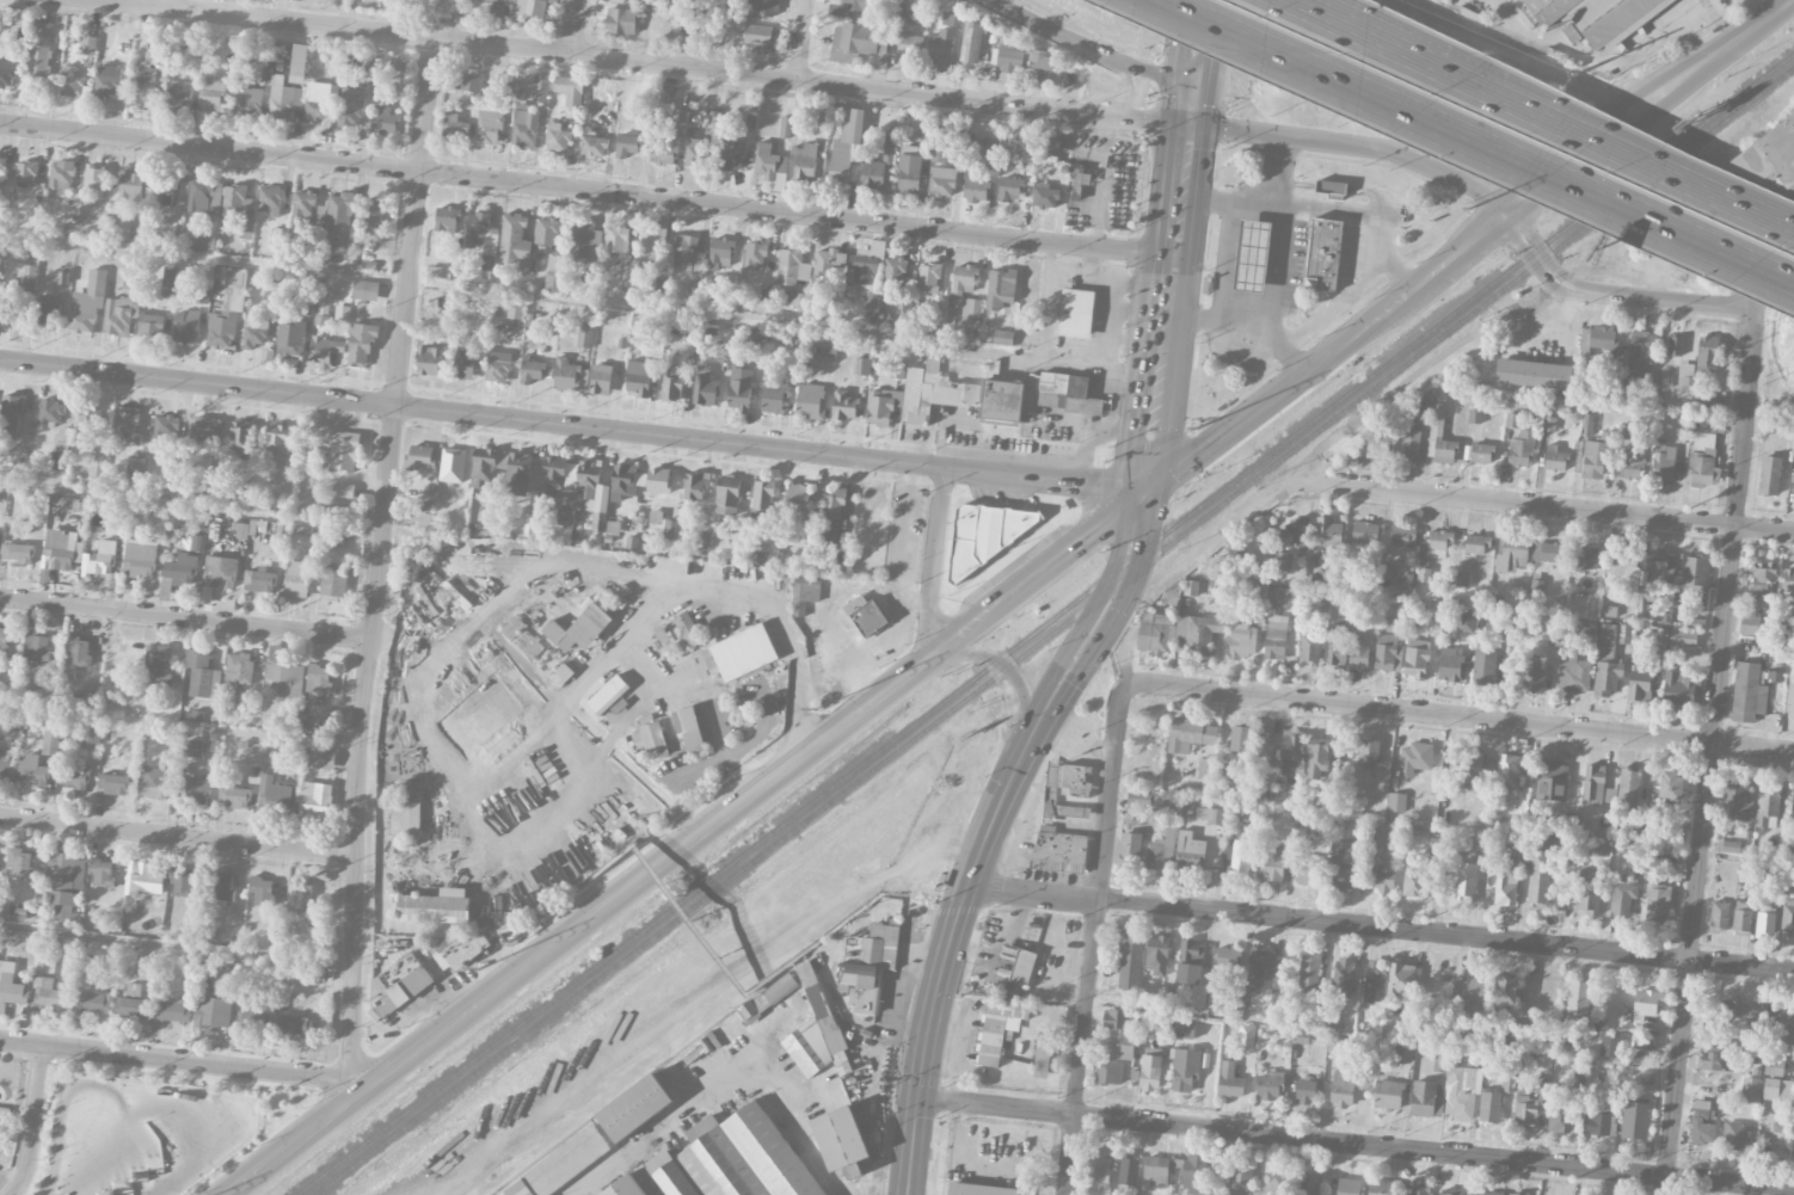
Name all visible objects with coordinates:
building: (487, 0)
road: (171, 4)
building: (528, 8)
building: (762, 8)
building: (848, 8)
building: (1596, 17)
road: (441, 18)
building: (950, 19)
building: (620, 20)
road: (1215, 24)
road: (573, 27)
building: (758, 35)
road: (801, 41)
building: (853, 42)
building: (971, 42)
building: (909, 44)
building: (87, 45)
road: (1092, 50)
road: (1388, 50)
building: (940, 51)
road: (1597, 56)
building: (1008, 58)
building: (39, 61)
building: (299, 63)
road: (649, 63)
building: (1040, 64)
building: (332, 68)
building: (265, 72)
building: (8, 73)
power tower: (1575, 74)
building: (106, 81)
building: (504, 81)
building: (73, 85)
building: (143, 86)
traffic signals: (1197, 86)
building: (471, 87)
building: (540, 88)
building: (570, 90)
building: (213, 96)
road: (1194, 97)
building: (177, 99)
building: (283, 99)
building: (248, 101)
building: (317, 101)
road: (1396, 106)
building: (351, 107)
road: (1528, 115)
building: (714, 118)
building: (829, 118)
building: (385, 119)
building: (677, 123)
traffic signals: (1192, 127)
building: (454, 128)
building: (489, 128)
building: (524, 128)
building: (849, 137)
building: (557, 138)
building: (627, 144)
road: (1358, 144)
building: (594, 147)
building: (889, 147)
building: (663, 150)
building: (990, 152)
building: (695, 153)
building: (732, 154)
building: (805, 162)
building: (770, 166)
building: (1762, 167)
building: (840, 168)
building: (1, 170)
building: (909, 170)
road: (1276, 171)
building: (26, 173)
building: (61, 174)
building: (873, 175)
road: (1675, 179)
building: (94, 181)
building: (942, 181)
building: (130, 189)
building: (1331, 189)
building: (164, 190)
road: (589, 190)
building: (975, 190)
building: (1009, 190)
building: (1045, 196)
building: (205, 199)
building: (270, 201)
building: (302, 204)
building: (239, 205)
road: (1329, 208)
power tower: (1469, 208)
building: (447, 218)
building: (340, 220)
road: (1660, 223)
building: (546, 232)
road: (1383, 236)
building: (483, 239)
building: (616, 239)
building: (515, 241)
building: (205, 242)
building: (584, 242)
road: (1469, 242)
building: (652, 245)
building: (1, 250)
building: (686, 252)
building: (720, 252)
building: (1322, 254)
building: (1251, 255)
building: (754, 257)
road: (1178, 257)
road: (1089, 260)
building: (828, 263)
building: (865, 263)
road: (1225, 263)
building: (792, 267)
road: (1280, 269)
building: (895, 270)
building: (554, 271)
building: (438, 272)
building: (29, 278)
building: (928, 278)
road: (1770, 279)
building: (168, 281)
building: (964, 281)
road: (1139, 281)
building: (130, 289)
building: (1000, 289)
building: (365, 290)
road: (1351, 291)
road: (1111, 292)
road: (1612, 294)
building: (201, 296)
building: (799, 301)
building: (87, 302)
building: (270, 302)
building: (322, 302)
building: (871, 306)
building: (898, 306)
building: (227, 307)
building: (303, 308)
building: (514, 309)
building: (47, 310)
building: (971, 312)
building: (11, 313)
road: (1141, 313)
building: (1076, 314)
building: (119, 315)
building: (933, 320)
building: (150, 327)
building: (185, 327)
building: (584, 337)
building: (290, 339)
building: (1604, 339)
building: (361, 345)
building: (827, 345)
building: (325, 351)
road: (1056, 351)
road: (1288, 351)
building: (1639, 351)
building: (1707, 356)
building: (429, 361)
building: (463, 366)
building: (498, 366)
building: (861, 366)
building: (532, 370)
building: (896, 370)
road: (1419, 371)
building: (1531, 372)
building: (566, 375)
building: (639, 378)
building: (601, 380)
building: (1685, 380)
building: (671, 383)
building: (707, 387)
building: (739, 388)
building: (933, 392)
building: (774, 393)
building: (1064, 393)
building: (810, 401)
building: (1002, 401)
building: (844, 406)
building: (881, 406)
building: (1419, 408)
building: (49, 414)
building: (1474, 415)
building: (10, 417)
road: (1746, 417)
building: (1512, 420)
road: (575, 424)
building: (1587, 424)
building: (87, 425)
building: (127, 427)
building: (205, 427)
building: (165, 429)
power tower: (1198, 430)
building: (241, 436)
building: (1440, 436)
building: (276, 442)
building: (1409, 444)
building: (1377, 448)
building: (1520, 449)
building: (344, 451)
building: (1481, 452)
building: (1704, 455)
building: (1592, 456)
building: (419, 457)
building: (1555, 457)
building: (1663, 458)
building: (59, 460)
building: (1632, 464)
building: (486, 466)
building: (97, 467)
building: (135, 468)
building: (518, 474)
building: (1769, 475)
building: (558, 476)
building: (622, 481)
building: (658, 481)
building: (694, 487)
traffic signals: (1150, 489)
building: (345, 491)
building: (592, 493)
building: (726, 495)
building: (762, 498)
building: (799, 499)
building: (833, 504)
road: (1525, 505)
building: (564, 517)
road: (909, 525)
road: (1767, 529)
building: (1328, 531)
building: (1365, 531)
building: (1291, 534)
building: (985, 536)
building: (1401, 536)
building: (334, 537)
building: (701, 540)
building: (1437, 542)
building: (197, 543)
building: (1475, 543)
building: (60, 550)
building: (768, 550)
building: (1546, 550)
building: (17, 553)
building: (1512, 555)
building: (1626, 555)
road: (377, 556)
building: (99, 559)
building: (1585, 559)
building: (1280, 560)
building: (140, 561)
road: (935, 562)
building: (1658, 566)
building: (178, 572)
building: (220, 572)
building: (1386, 573)
building: (1694, 573)
building: (1424, 574)
building: (1403, 580)
building: (259, 581)
building: (1763, 581)
building: (1788, 581)
building: (296, 583)
building: (333, 583)
building: (1536, 585)
building: (205, 595)
building: (805, 595)
building: (1283, 597)
road: (909, 604)
building: (865, 615)
road: (184, 617)
building: (1466, 621)
railway: (1044, 623)
building: (1498, 623)
building: (1751, 624)
building: (579, 629)
building: (688, 630)
building: (1154, 630)
railway: (1053, 632)
building: (1198, 633)
building: (1274, 636)
building: (1682, 636)
building: (522, 639)
building: (1241, 640)
building: (4, 641)
building: (36, 646)
building: (1309, 647)
building: (78, 651)
building: (1386, 651)
building: (1337, 652)
building: (1358, 654)
road: (862, 655)
building: (1610, 657)
building: (1417, 658)
building: (158, 664)
building: (1450, 664)
building: (500, 666)
building: (1483, 666)
road: (1006, 667)
building: (236, 670)
building: (1573, 672)
building: (199, 673)
building: (1534, 673)
building: (283, 676)
building: (319, 678)
building: (1639, 682)
road: (860, 683)
building: (1678, 688)
building: (1747, 692)
building: (608, 695)
road: (425, 696)
building: (1790, 698)
road: (565, 701)
power tower: (818, 712)
building: (713, 715)
road: (1464, 716)
building: (688, 729)
building: (720, 731)
building: (88, 733)
building: (1191, 734)
building: (51, 737)
building: (658, 738)
building: (1240, 738)
building: (1265, 745)
building: (192, 749)
road: (1024, 749)
building: (1369, 751)
building: (1289, 752)
building: (1317, 757)
building: (319, 759)
building: (1414, 759)
building: (6, 766)
building: (1212, 770)
building: (1510, 772)
building: (1469, 774)
building: (32, 775)
building: (72, 777)
building: (1552, 778)
building: (1075, 781)
building: (153, 783)
building: (1593, 783)
building: (112, 784)
building: (1670, 784)
building: (1629, 787)
building: (195, 788)
building: (233, 795)
building: (276, 796)
building: (1136, 799)
building: (315, 800)
building: (1396, 801)
building: (1737, 801)
building: (1767, 802)
building: (1793, 805)
building: (1166, 806)
building: (1209, 814)
building: (405, 818)
road: (178, 836)
building: (1378, 837)
road: (689, 840)
building: (1131, 846)
building: (1510, 846)
building: (1059, 850)
building: (1162, 850)
building: (1190, 850)
building: (1237, 855)
road: (1700, 860)
building: (19, 863)
building: (1274, 863)
building: (1345, 863)
building: (1304, 869)
building: (100, 873)
building: (1381, 873)
building: (143, 879)
building: (180, 881)
building: (1415, 881)
building: (1466, 881)
building: (1538, 881)
building: (64, 882)
building: (1506, 885)
building: (220, 886)
building: (1589, 889)
building: (262, 891)
building: (300, 895)
road: (873, 895)
building: (1622, 898)
building: (1657, 900)
building: (435, 907)
road: (565, 907)
building: (1719, 916)
building: (1741, 916)
building: (1787, 917)
building: (1765, 919)
road: (688, 922)
road: (1381, 928)
road: (1093, 936)
road: (177, 947)
building: (872, 947)
building: (1008, 953)
building: (1156, 955)
building: (1225, 959)
building: (1130, 961)
building: (1188, 961)
building: (1022, 967)
building: (1260, 967)
power tower: (478, 971)
building: (1309, 971)
building: (1001, 974)
building: (1343, 977)
building: (1401, 979)
building: (1375, 981)
building: (398, 984)
building: (11, 985)
building: (859, 986)
building: (1505, 993)
building: (50, 994)
building: (768, 997)
building: (1468, 997)
building: (1577, 997)
building: (92, 1003)
building: (1647, 1003)
building: (1730, 1006)
building: (131, 1009)
building: (171, 1011)
building: (1756, 1011)
building: (211, 1012)
building: (1114, 1018)
building: (252, 1022)
building: (296, 1025)
building: (1786, 1025)
building: (999, 1029)
building: (816, 1031)
building: (1609, 1045)
building: (1125, 1047)
building: (1403, 1051)
building: (1042, 1055)
building: (1440, 1058)
building: (1639, 1058)
road: (188, 1060)
building: (1715, 1061)
building: (1774, 1066)
building: (1184, 1068)
building: (1110, 1072)
building: (1150, 1072)
building: (1229, 1079)
building: (1267, 1085)
road: (724, 1088)
building: (1341, 1088)
building: (1750, 1089)
building: (1304, 1090)
building: (1777, 1091)
building: (1388, 1094)
building: (1448, 1095)
building: (1489, 1107)
building: (634, 1108)
building: (1525, 1111)
building: (1560, 1116)
building: (1634, 1120)
road: (32, 1121)
building: (1702, 1122)
railway: (484, 1123)
building: (1597, 1123)
building: (1780, 1123)
building: (1734, 1135)
building: (841, 1141)
road: (1356, 1145)
building: (725, 1162)
building: (560, 1165)
building: (1155, 1169)
building: (1096, 1170)
building: (1128, 1170)
building: (1192, 1177)
building: (1241, 1181)
building: (1277, 1182)
building: (1310, 1183)
building: (1347, 1187)
building: (1380, 1188)
building: (979, 1189)
building: (1417, 1190)
building: (1450, 1191)
building: (1483, 1193)
building: (1513, 1194)

